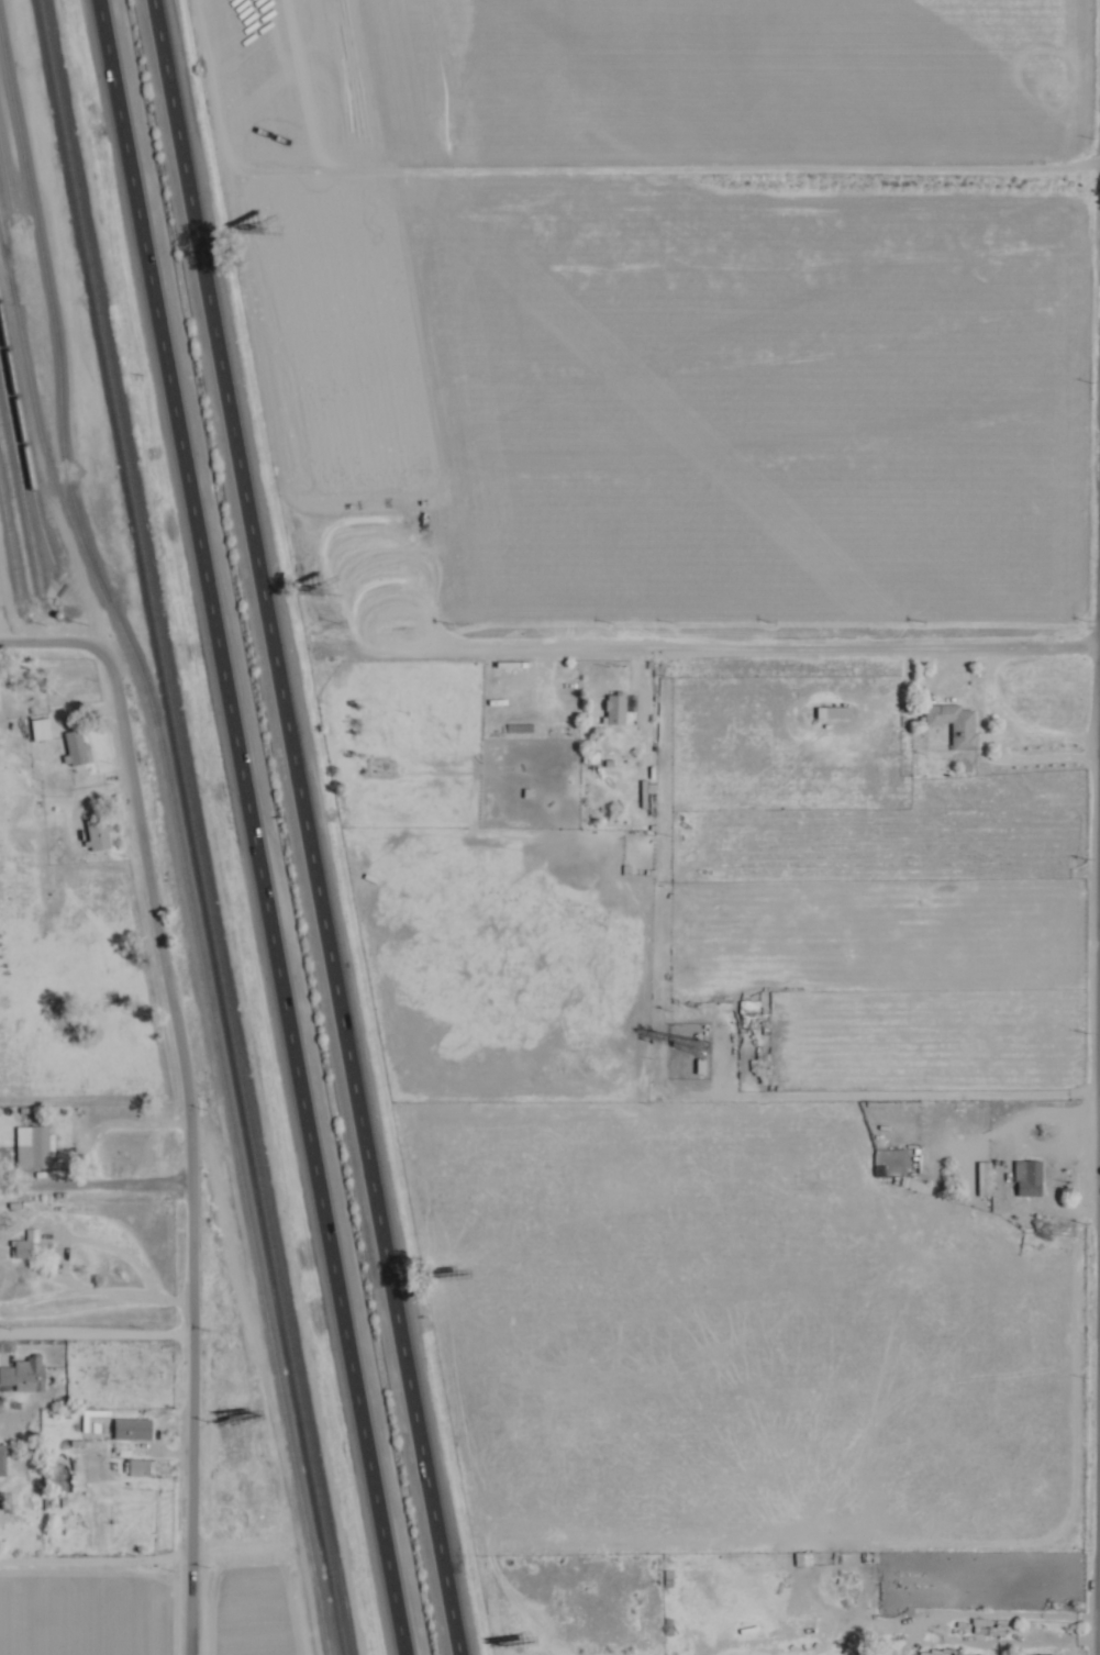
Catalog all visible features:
crop: (663, 87)
railway: (12, 143)
railway: (7, 173)
railway: (3, 249)
crop: (502, 390)
railway: (30, 393)
railway: (21, 458)
railway: (18, 478)
railway: (16, 500)
railway: (11, 531)
railway: (7, 557)
road: (44, 638)
road: (710, 648)
road: (987, 700)
building: (615, 707)
building: (836, 710)
building: (956, 721)
building: (41, 726)
building: (945, 733)
road: (1049, 735)
building: (77, 747)
road: (1093, 749)
road: (986, 752)
road: (1036, 757)
railway: (195, 827)
road: (254, 827)
road: (309, 827)
railway: (176, 829)
building: (99, 832)
building: (35, 1142)
road: (180, 1144)
building: (1030, 1175)
building: (985, 1176)
road: (90, 1188)
building: (24, 1246)
road: (90, 1332)
building: (24, 1373)
building: (134, 1426)
building: (2, 1458)
building: (140, 1465)
road: (90, 1559)
road: (1012, 1612)
road: (1099, 1634)
building: (1040, 1654)

